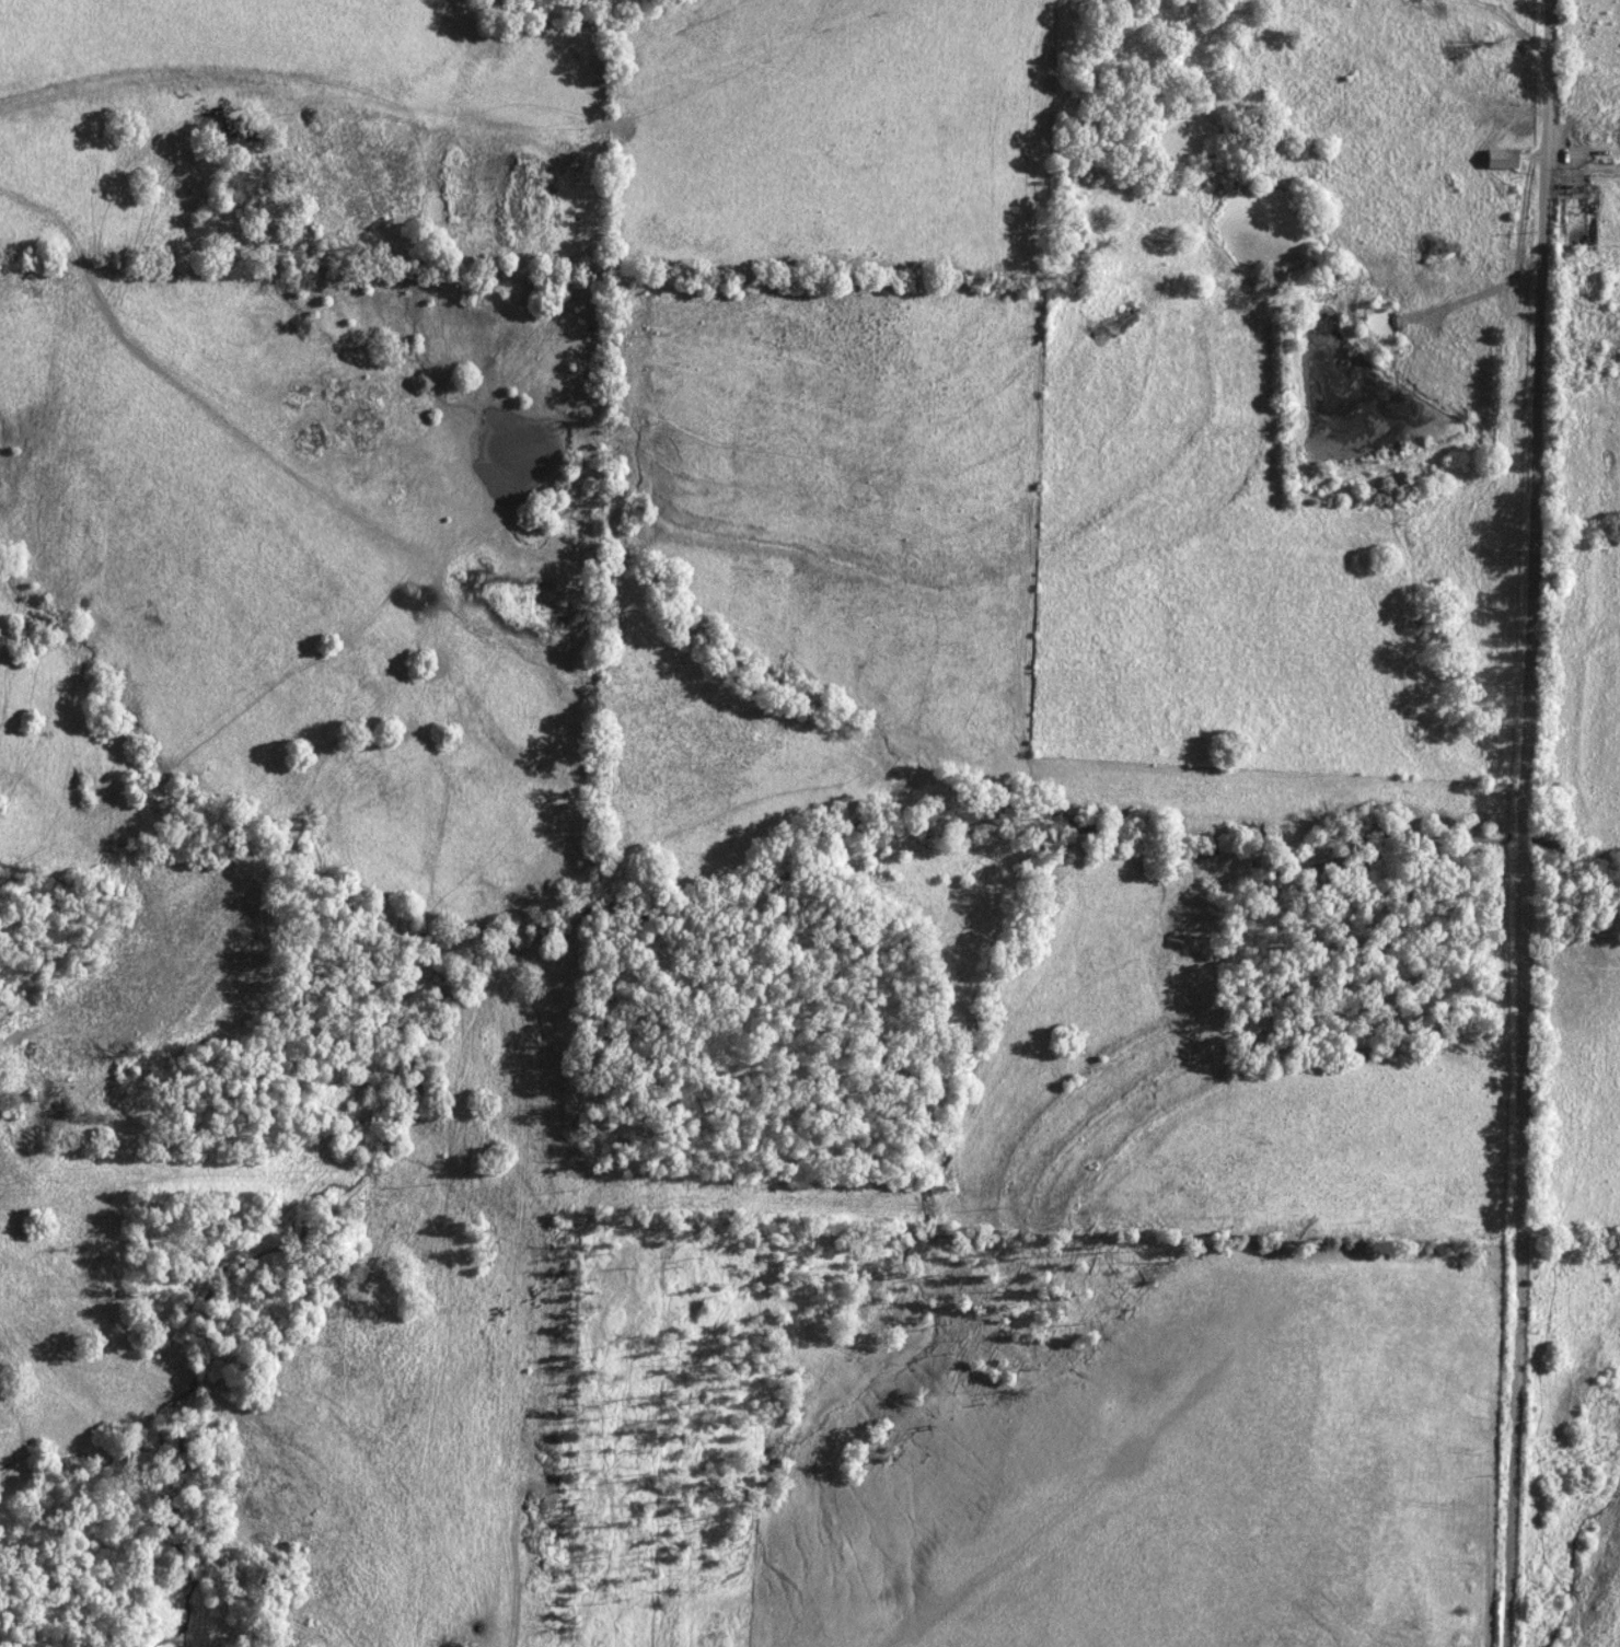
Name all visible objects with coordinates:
building: (1497, 160)
building: (1565, 179)
road: (1526, 823)

